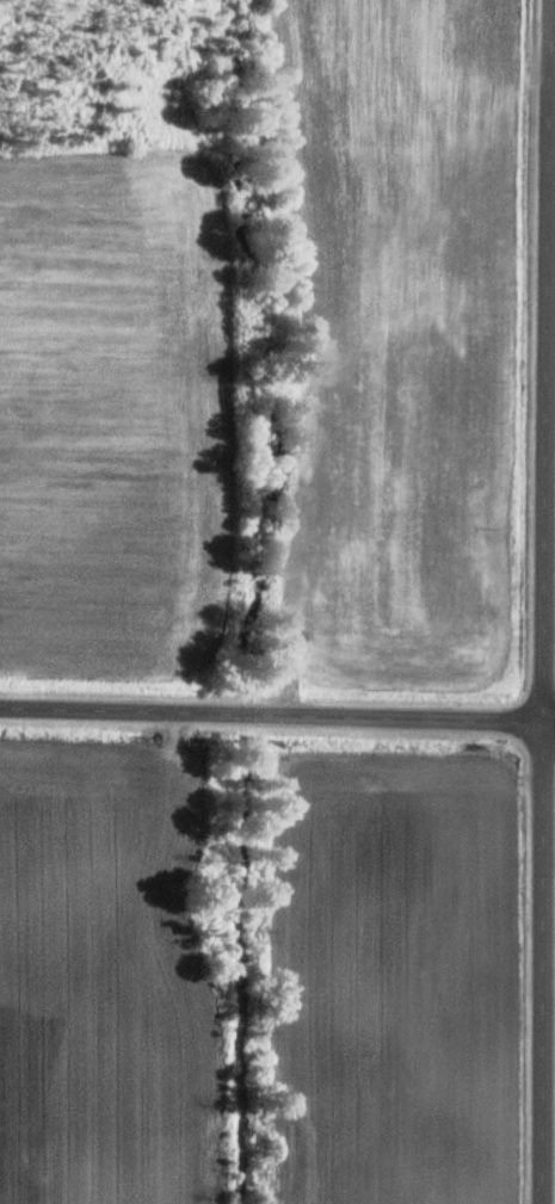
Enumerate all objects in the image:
road: (547, 601)
road: (277, 715)

